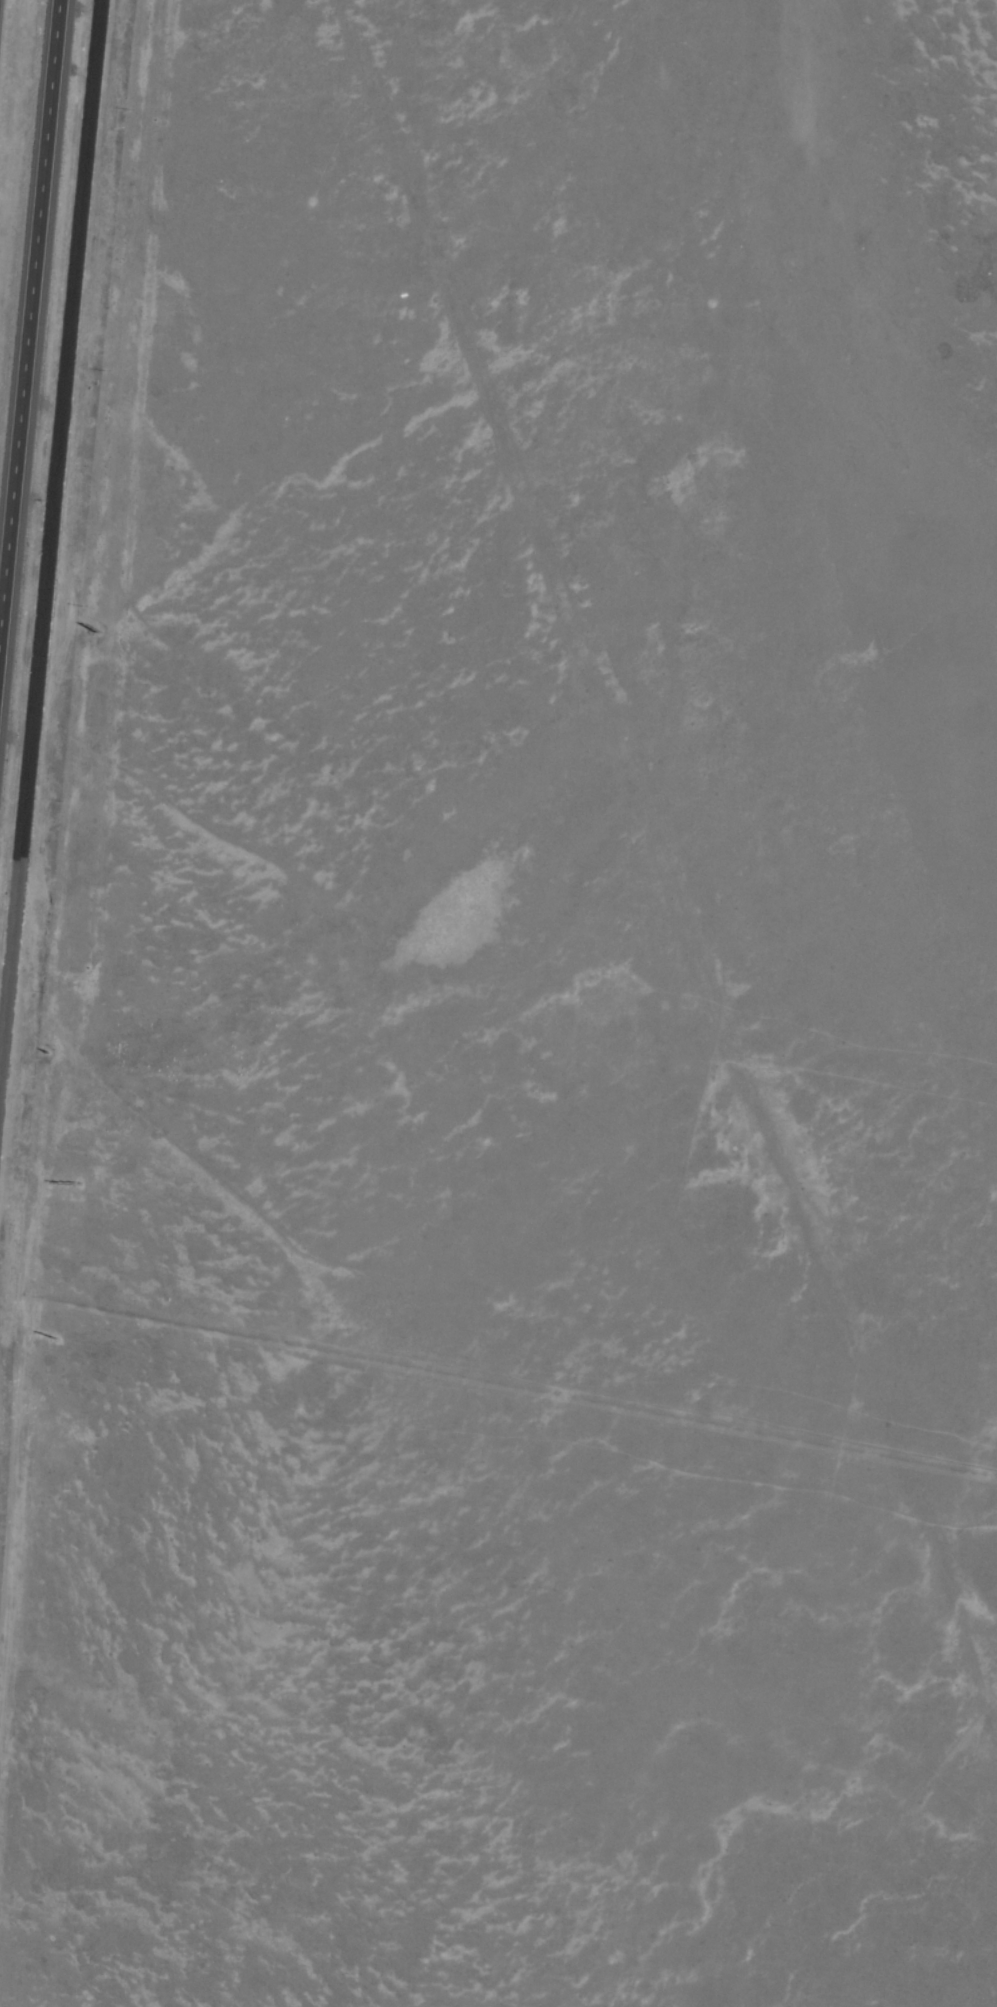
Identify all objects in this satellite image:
road: (27, 291)
road: (48, 519)

